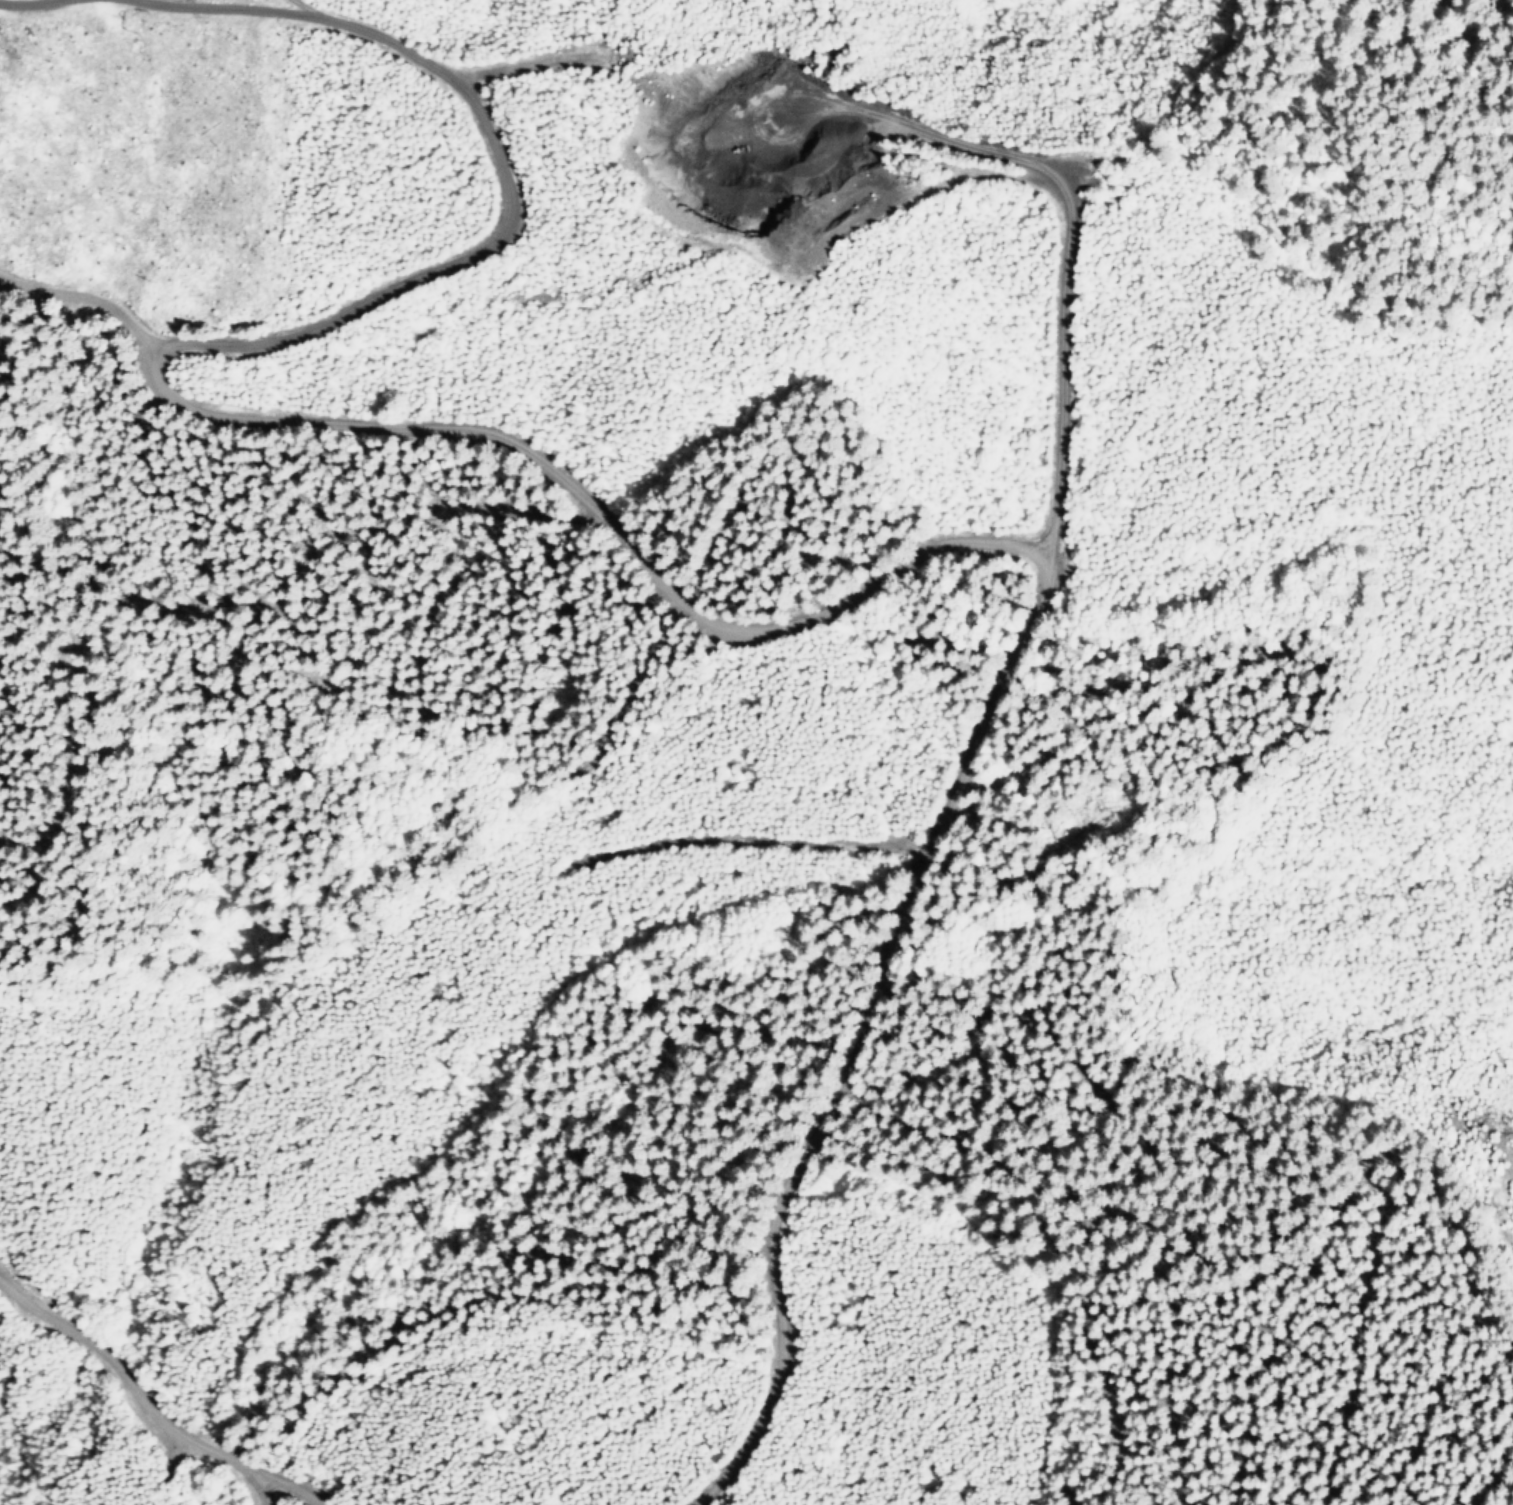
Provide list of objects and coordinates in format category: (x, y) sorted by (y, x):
road: (280, 7)
road: (1064, 376)
road: (656, 589)
road: (173, 612)
crop: (397, 831)
road: (127, 1394)
road: (285, 1486)

